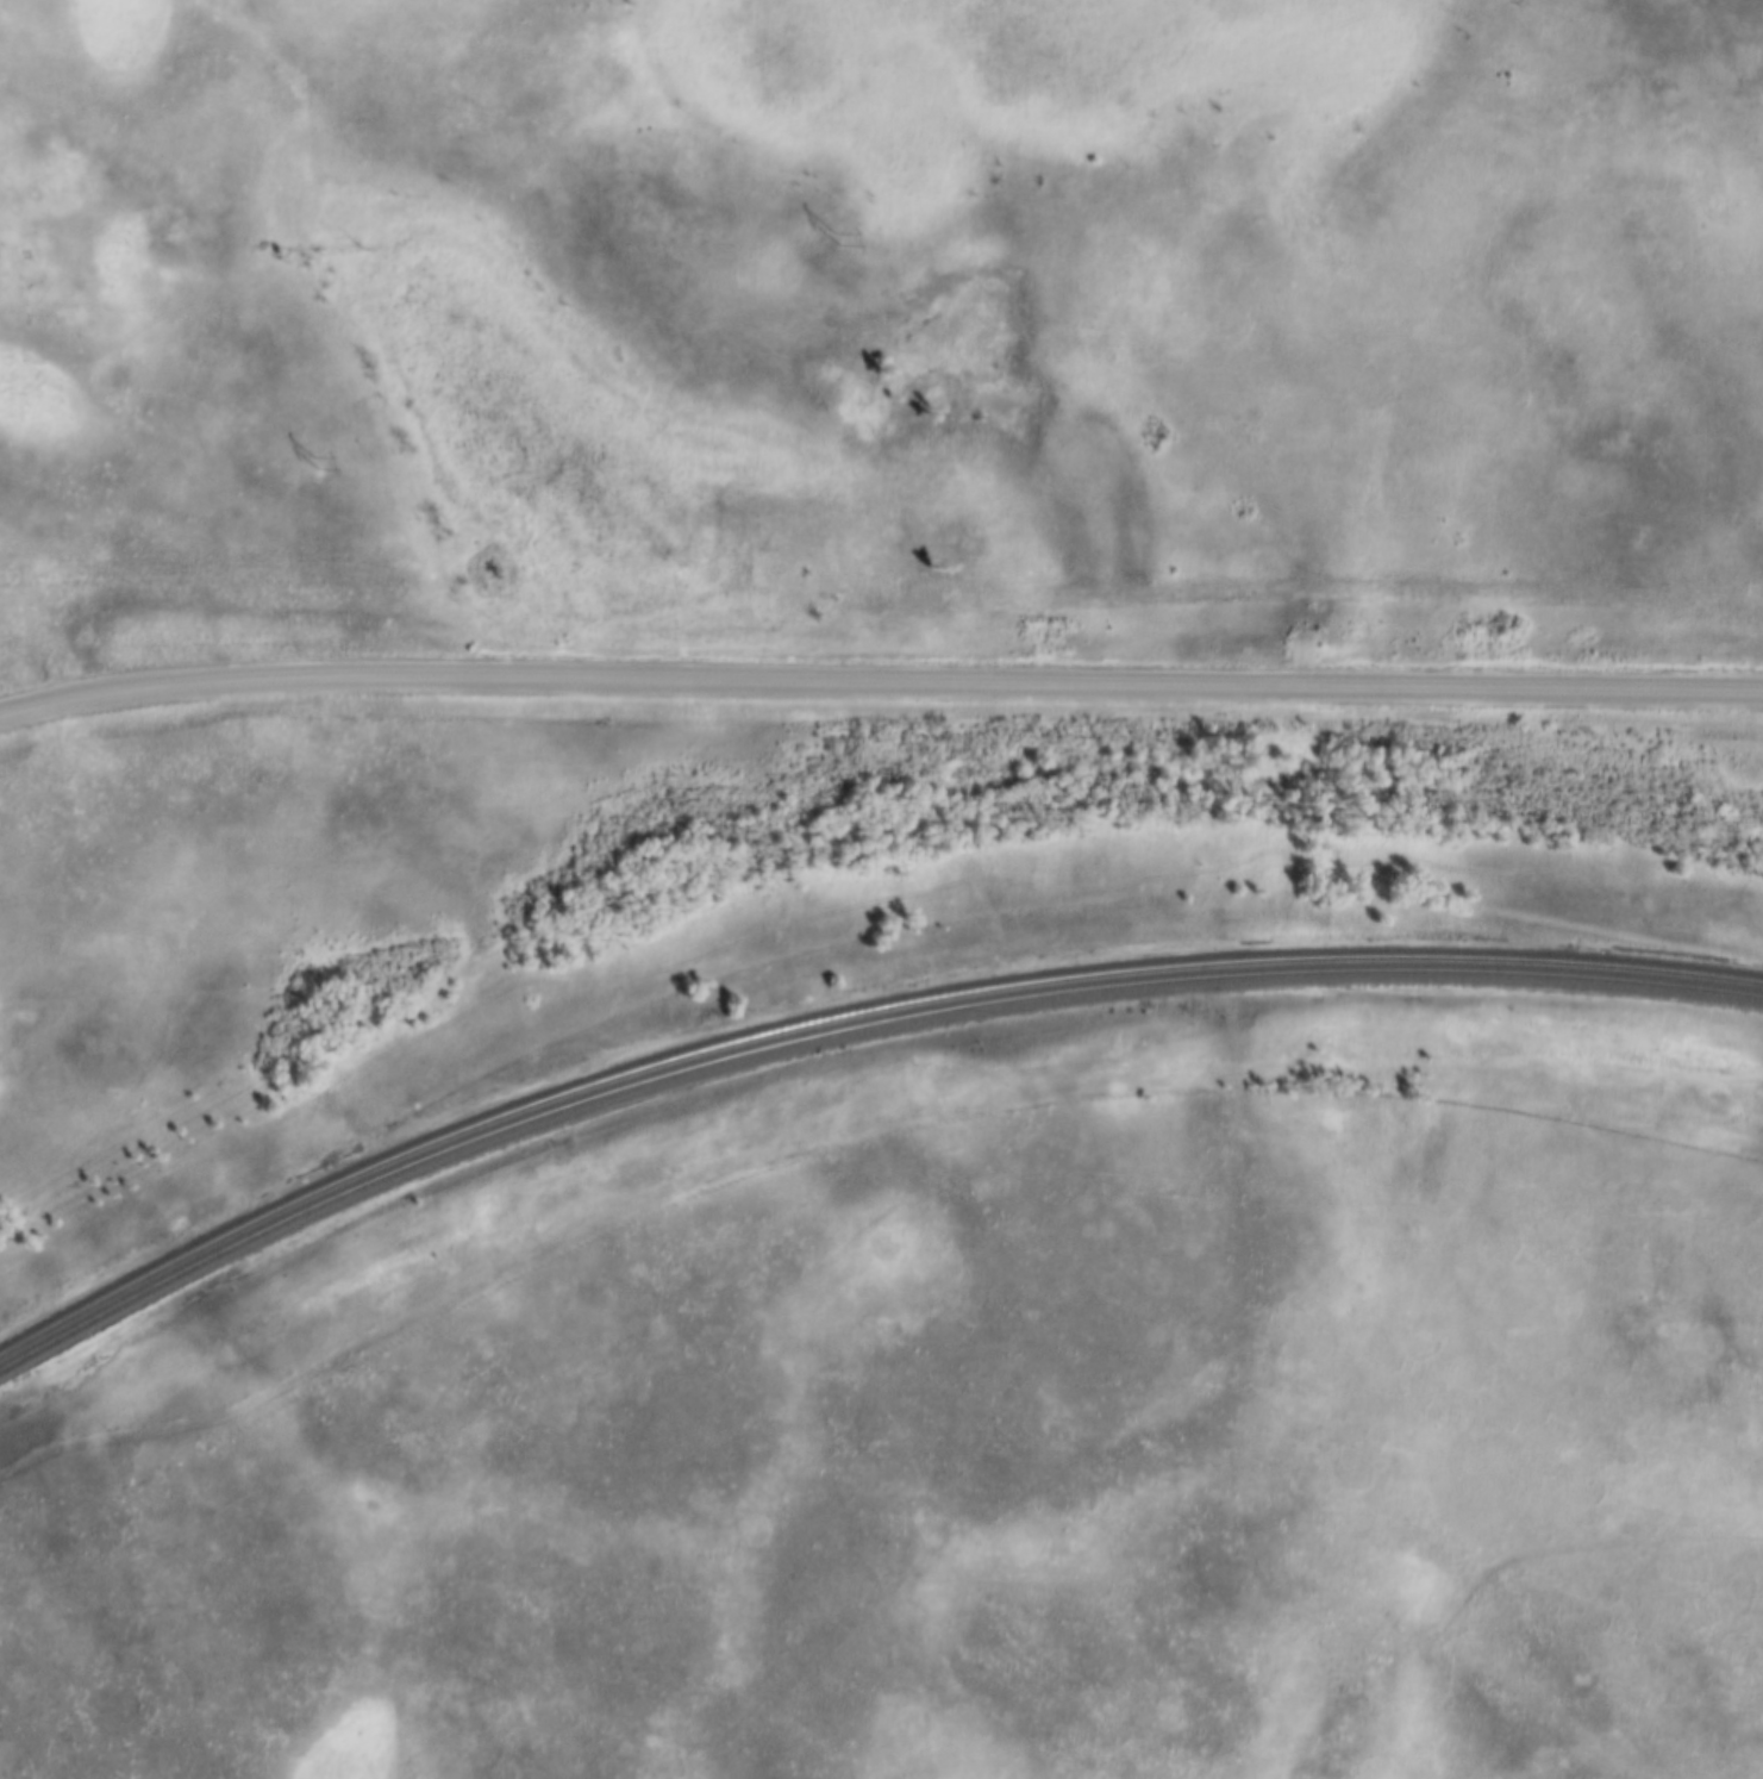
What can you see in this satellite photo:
power tower: (834, 237)
power tower: (315, 461)
road: (879, 683)
railway: (849, 1012)
railway: (849, 1028)

